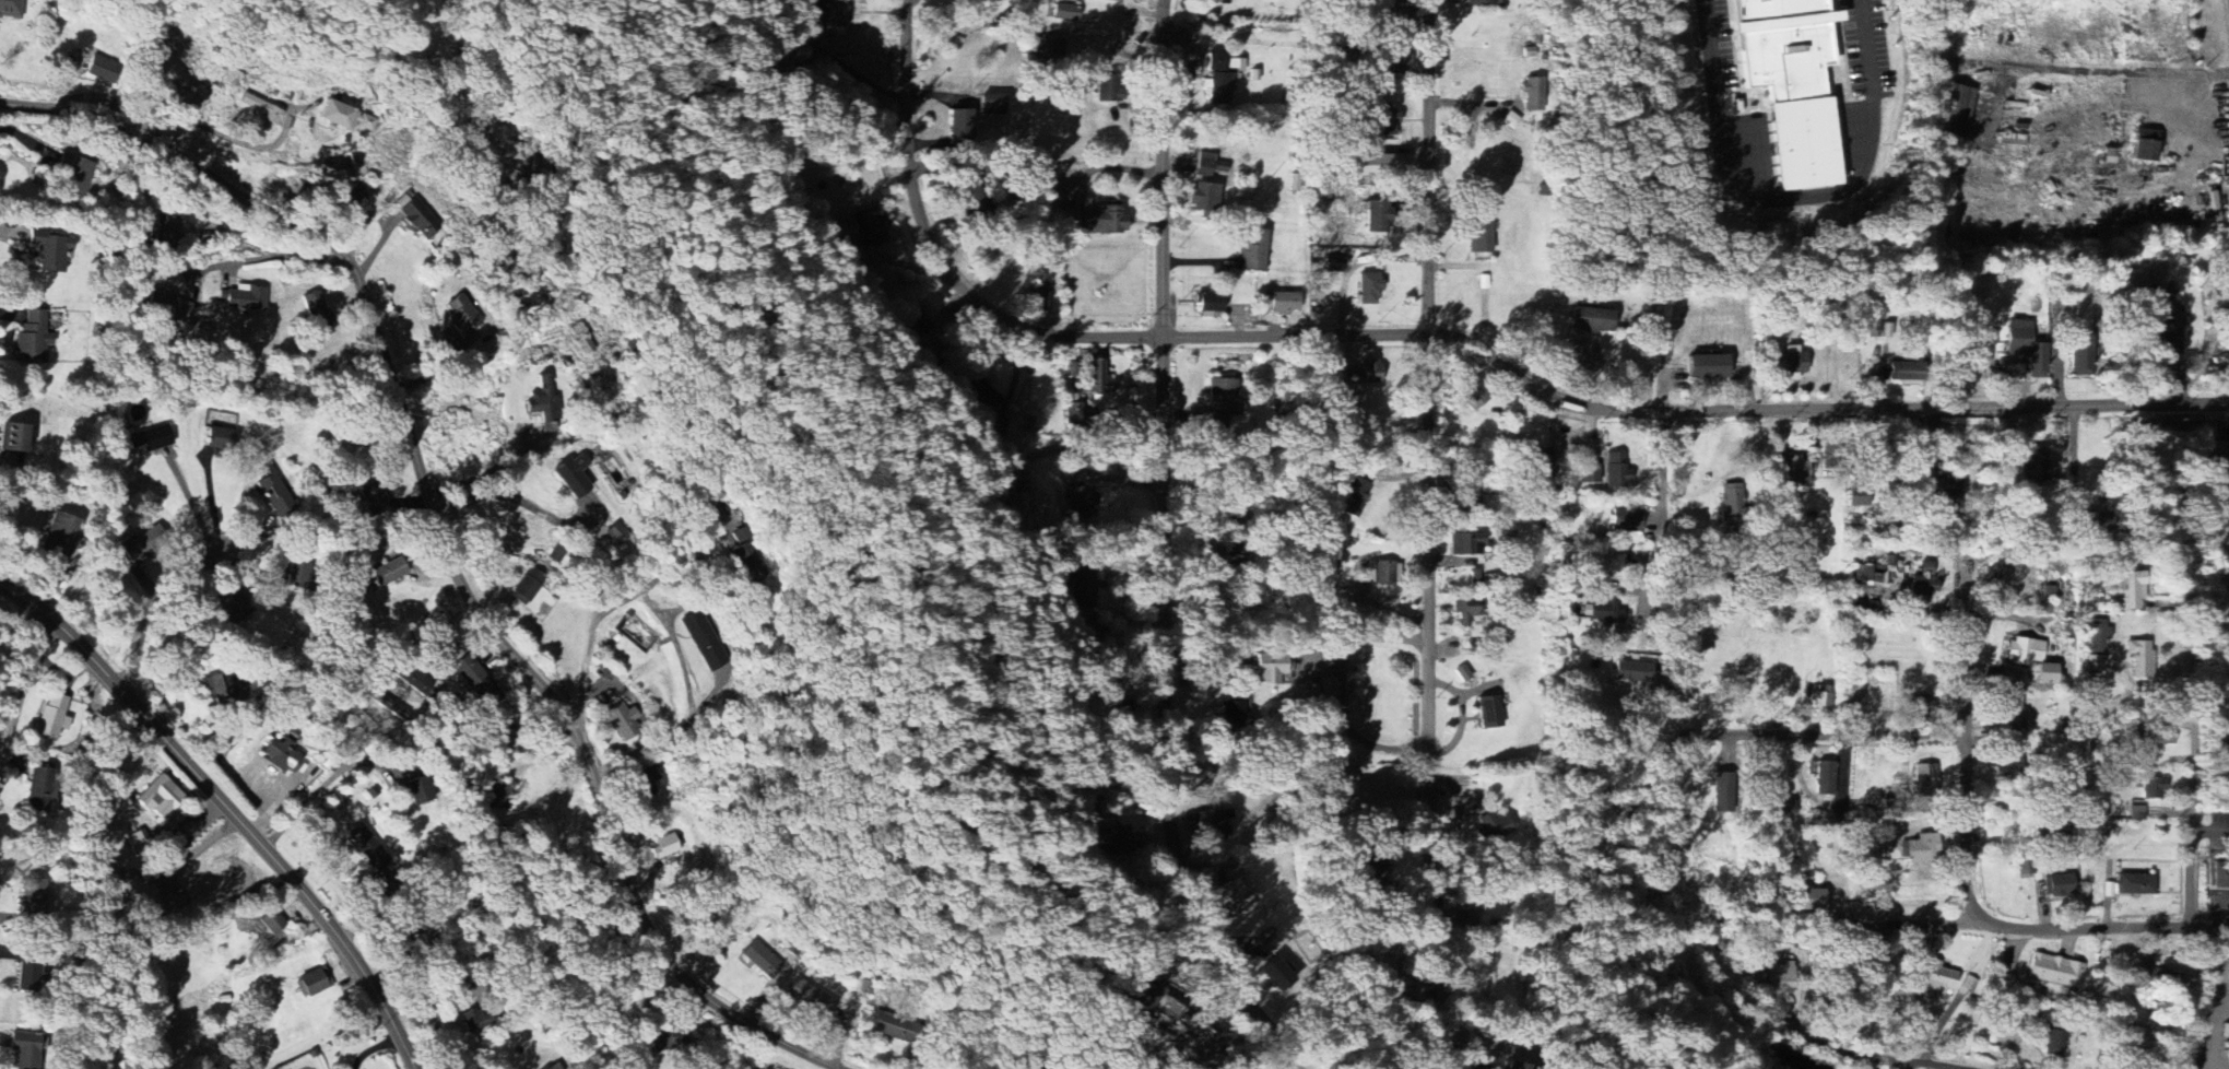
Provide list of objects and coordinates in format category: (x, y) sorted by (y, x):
building: (1476, 3)
building: (11, 9)
building: (1065, 13)
building: (828, 14)
building: (1400, 20)
building: (1050, 49)
building: (1235, 64)
building: (101, 70)
building: (1217, 80)
building: (1792, 85)
building: (1107, 92)
building: (1533, 95)
building: (993, 105)
building: (262, 110)
building: (343, 118)
building: (1387, 125)
road: (207, 127)
building: (959, 129)
building: (2145, 146)
building: (1208, 166)
building: (1379, 166)
building: (72, 176)
building: (349, 196)
building: (1203, 198)
road: (1796, 199)
building: (968, 200)
building: (416, 216)
building: (1098, 220)
building: (1378, 222)
building: (869, 227)
building: (165, 232)
building: (1479, 235)
building: (49, 250)
building: (1253, 251)
road: (263, 259)
building: (1333, 266)
building: (1369, 290)
building: (1040, 293)
building: (243, 298)
building: (1210, 303)
building: (1281, 303)
building: (166, 306)
building: (462, 314)
building: (317, 315)
building: (1592, 320)
building: (1873, 320)
building: (917, 322)
building: (2168, 326)
road: (1448, 336)
building: (32, 338)
building: (2027, 348)
building: (2081, 359)
building: (1789, 363)
building: (1708, 367)
building: (1906, 372)
building: (1364, 374)
building: (1097, 378)
road: (1014, 380)
building: (976, 390)
building: (1472, 397)
building: (544, 404)
building: (1220, 404)
building: (1071, 414)
building: (12, 437)
building: (149, 439)
building: (217, 439)
building: (2217, 455)
building: (1541, 459)
building: (2036, 466)
building: (1615, 470)
building: (1797, 470)
road: (486, 471)
building: (1588, 473)
building: (573, 475)
road: (1662, 480)
building: (1948, 489)
building: (274, 492)
building: (1352, 497)
building: (1859, 497)
building: (373, 498)
road: (518, 501)
building: (1083, 502)
building: (1732, 503)
road: (191, 505)
building: (1017, 508)
building: (1626, 521)
building: (58, 534)
road: (1429, 534)
road: (441, 539)
building: (1463, 543)
building: (142, 544)
road: (1161, 550)
road: (520, 553)
road: (675, 559)
building: (1926, 568)
building: (388, 572)
building: (1381, 572)
building: (1866, 573)
building: (294, 574)
building: (527, 586)
building: (1922, 586)
building: (1081, 588)
building: (2133, 590)
road: (161, 601)
building: (1467, 612)
building: (231, 614)
building: (1607, 614)
road: (667, 624)
road: (408, 625)
building: (2099, 636)
road: (172, 637)
building: (2031, 658)
building: (2142, 658)
building: (2095, 663)
building: (1269, 668)
building: (1631, 671)
building: (1462, 673)
building: (411, 679)
building: (475, 681)
building: (217, 686)
building: (1322, 689)
road: (20, 698)
building: (379, 701)
building: (1821, 701)
building: (1919, 705)
building: (1488, 713)
building: (2012, 713)
building: (1233, 715)
building: (51, 716)
building: (623, 721)
road: (1820, 737)
building: (2158, 737)
road: (2189, 738)
road: (1966, 752)
building: (280, 753)
building: (1823, 777)
building: (1925, 779)
building: (651, 782)
road: (322, 787)
building: (2153, 789)
building: (38, 791)
building: (418, 791)
building: (1724, 791)
building: (497, 796)
building: (160, 798)
building: (1788, 808)
road: (228, 809)
building: (2137, 813)
building: (1210, 823)
building: (1491, 829)
building: (1116, 842)
building: (665, 846)
building: (367, 847)
building: (1921, 849)
building: (1377, 870)
building: (2220, 877)
building: (2135, 884)
building: (2057, 885)
building: (32, 897)
building: (1237, 897)
building: (1806, 900)
building: (1462, 921)
building: (270, 923)
road: (1907, 927)
road: (2094, 932)
building: (1877, 958)
building: (760, 960)
building: (2055, 972)
building: (26, 975)
building: (1276, 975)
building: (1780, 977)
building: (1938, 978)
building: (2162, 980)
building: (315, 982)
building: (810, 998)
building: (1154, 1000)
road: (440, 1015)
building: (474, 1020)
building: (891, 1027)
building: (2055, 1039)
building: (671, 1041)
building: (23, 1052)
road: (1862, 1053)
building: (1516, 1066)
building: (553, 1067)
building: (1768, 1068)

